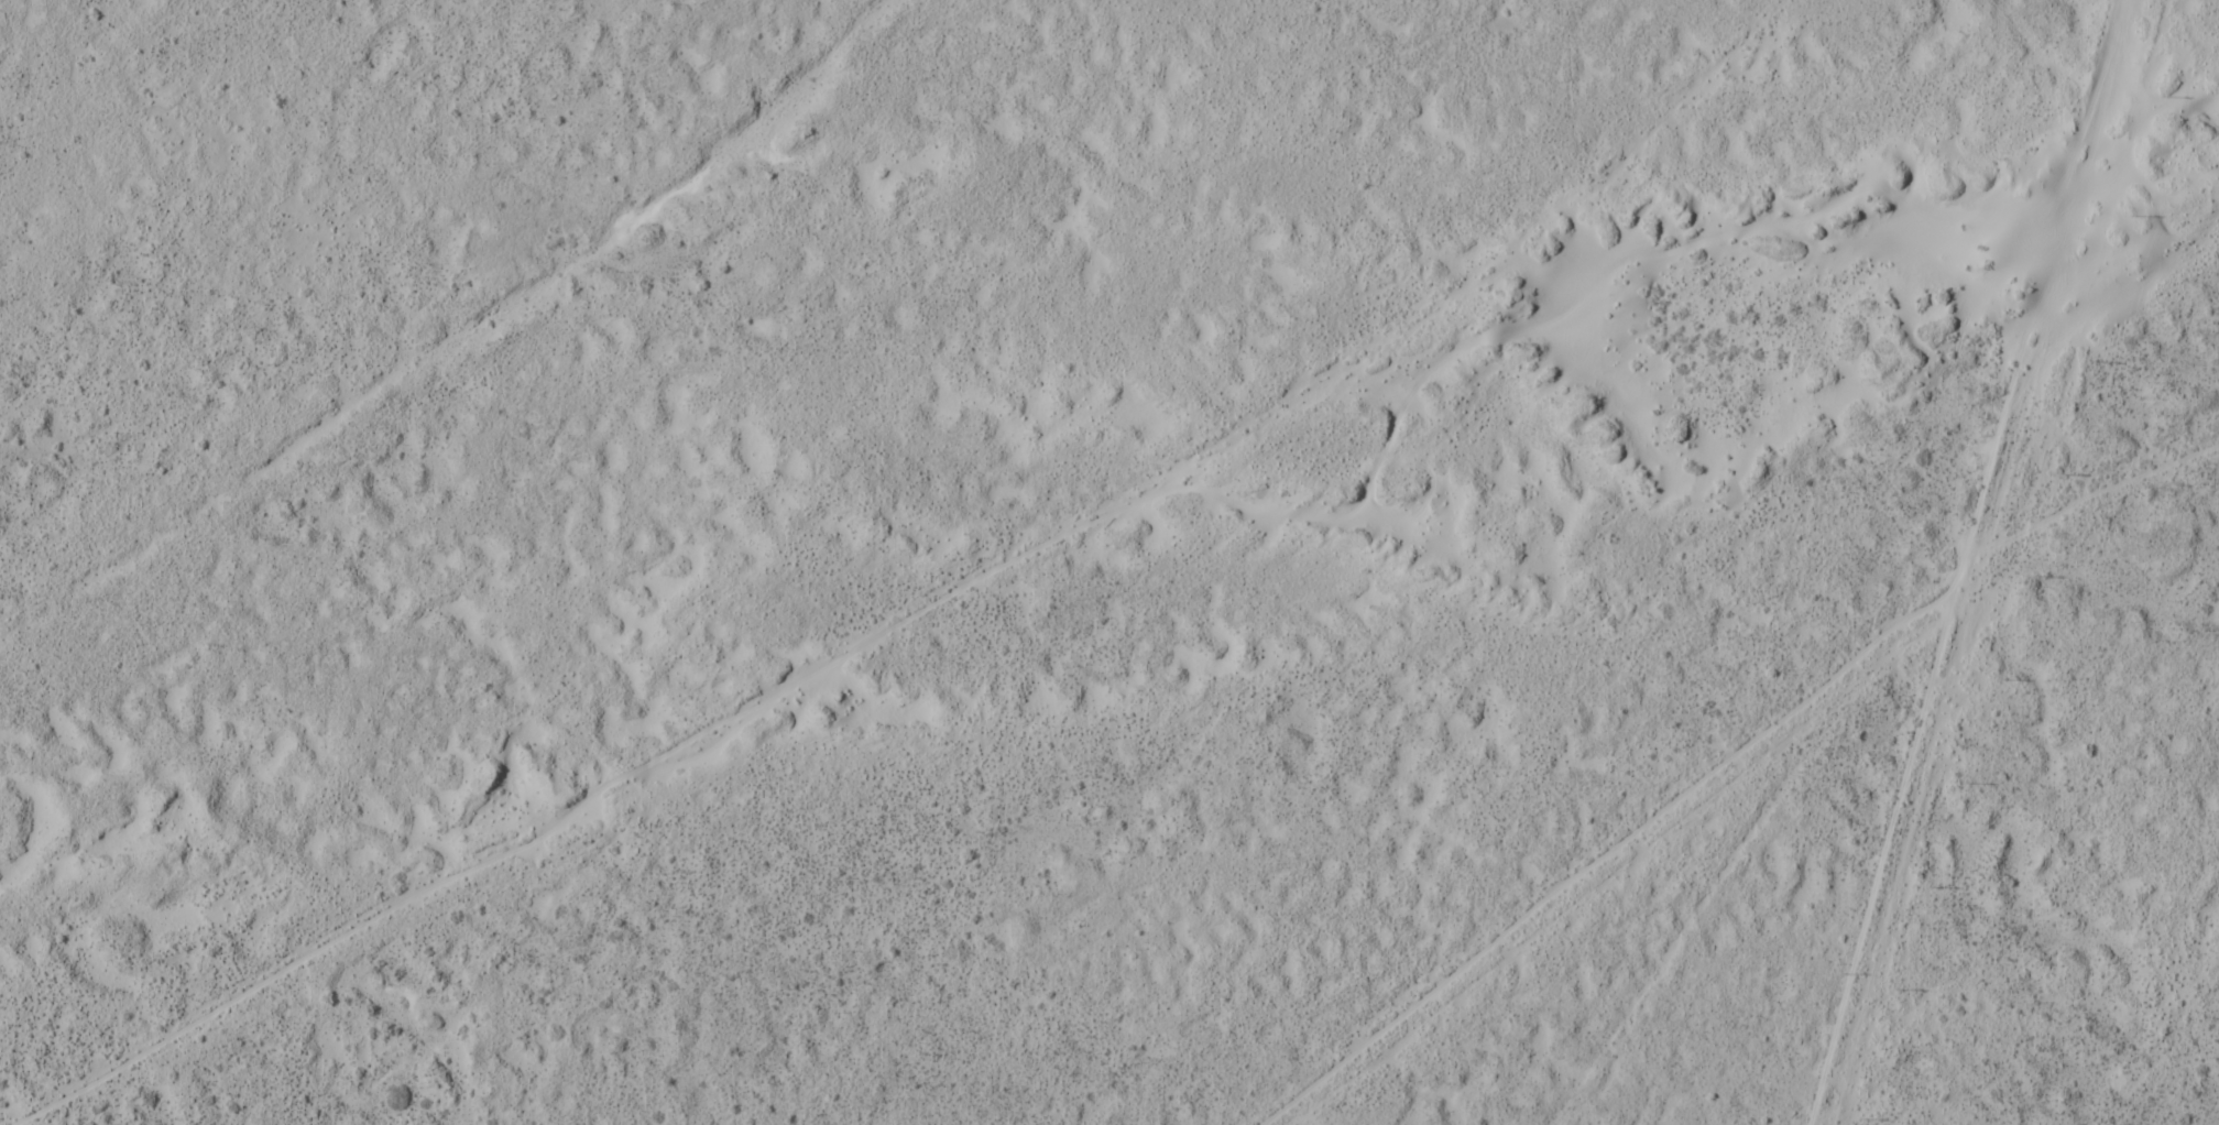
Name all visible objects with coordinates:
road: (1967, 562)

